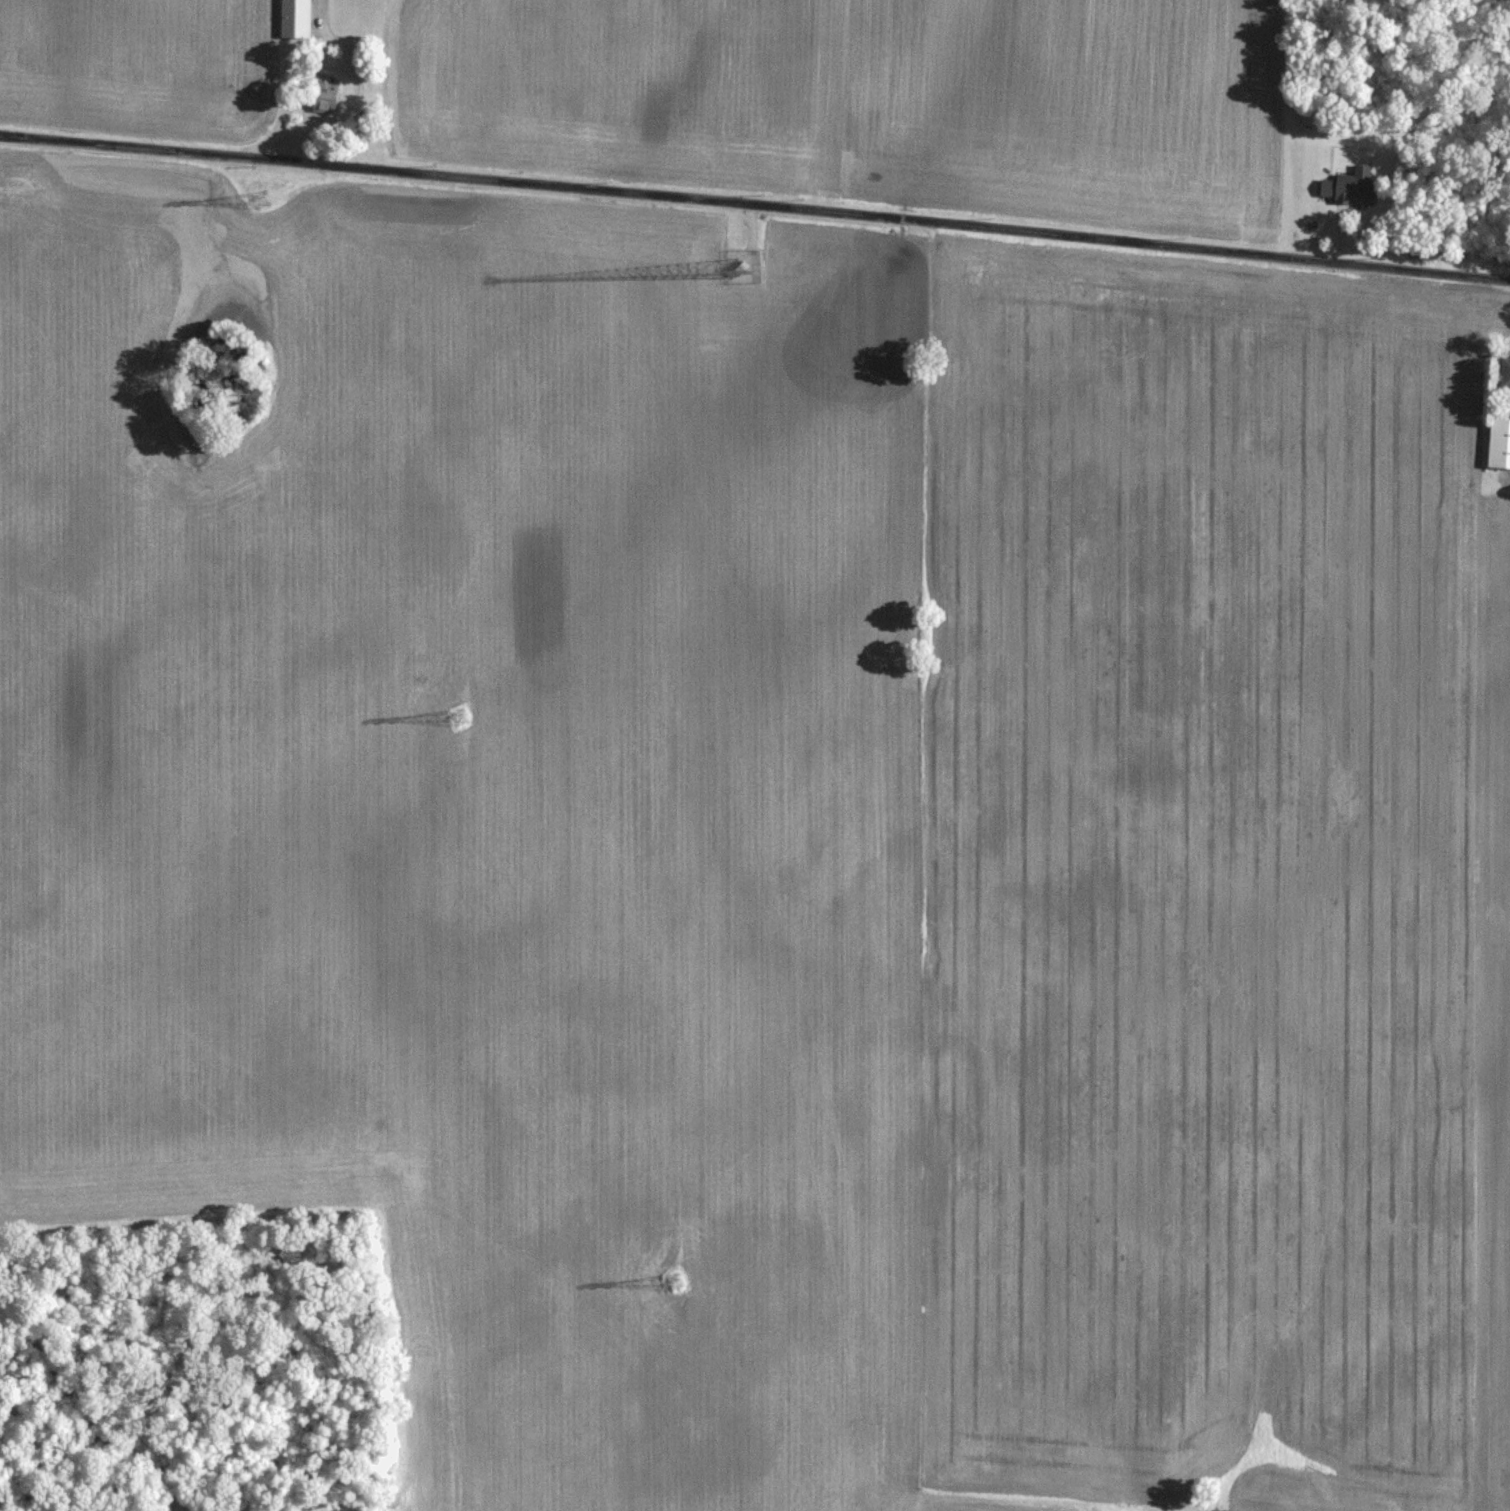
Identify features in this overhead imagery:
building: (292, 18)
building: (321, 96)
building: (1347, 187)
road: (755, 200)
building: (1504, 372)
building: (1497, 442)
road: (76, 1400)

